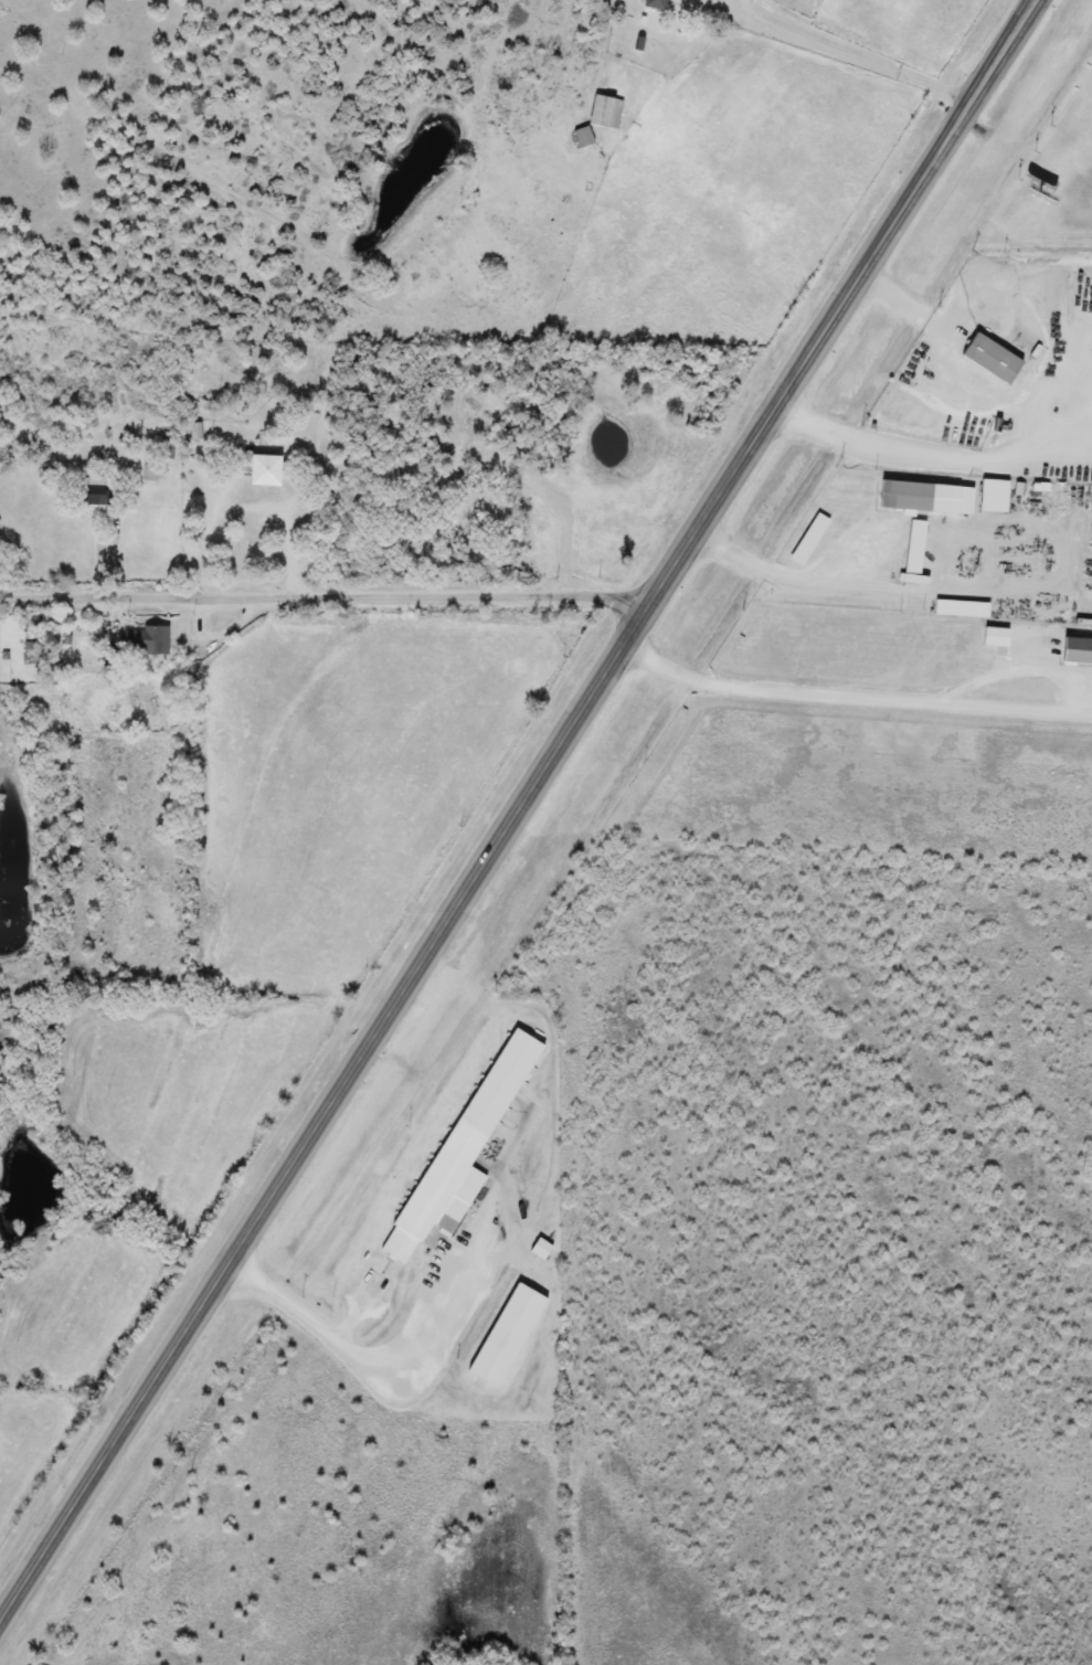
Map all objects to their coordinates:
building: (649, 3)
road: (848, 51)
building: (603, 112)
building: (576, 138)
building: (987, 359)
building: (198, 432)
road: (1041, 435)
building: (170, 446)
road: (899, 446)
building: (261, 471)
building: (89, 495)
building: (990, 496)
building: (922, 498)
road: (208, 528)
building: (912, 553)
road: (784, 569)
road: (327, 592)
building: (958, 608)
building: (142, 640)
building: (1074, 650)
road: (855, 693)
road: (519, 810)
railway: (565, 835)
building: (460, 1149)
building: (502, 1336)
road: (383, 1397)

